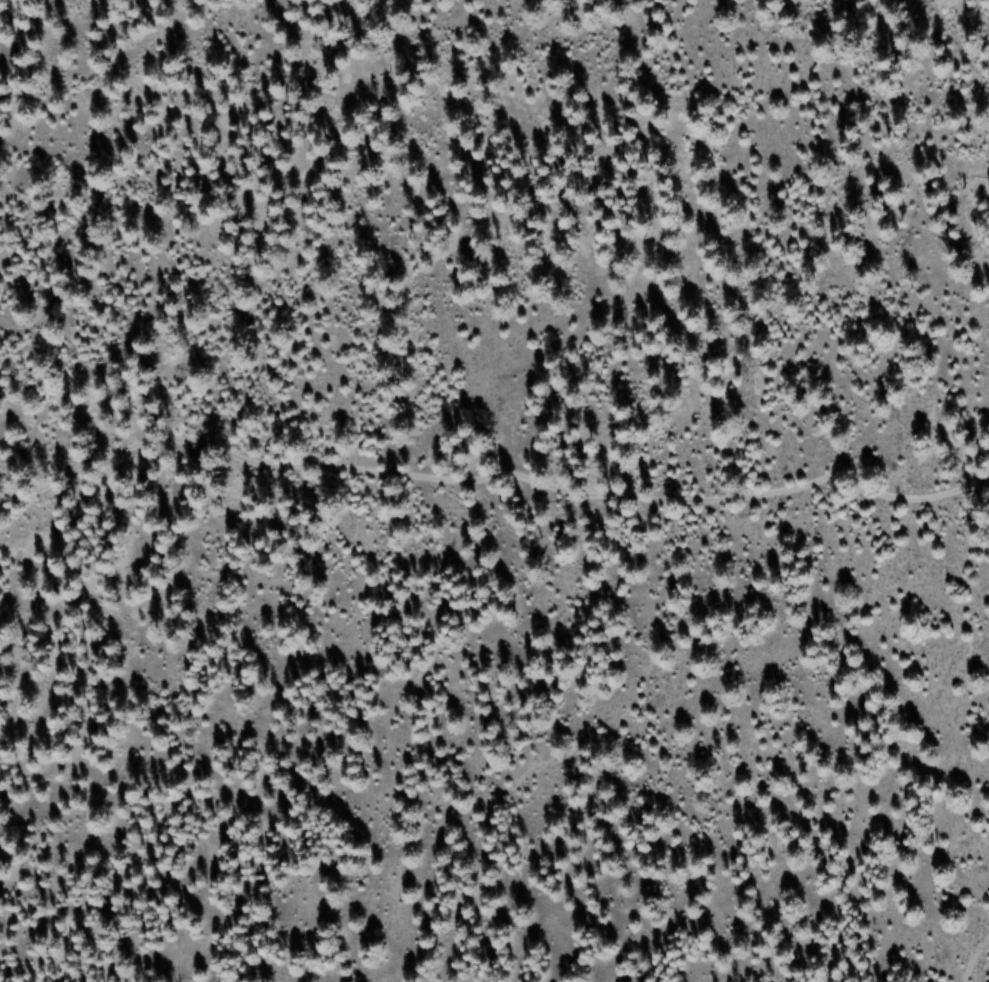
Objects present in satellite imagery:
road: (487, 492)

